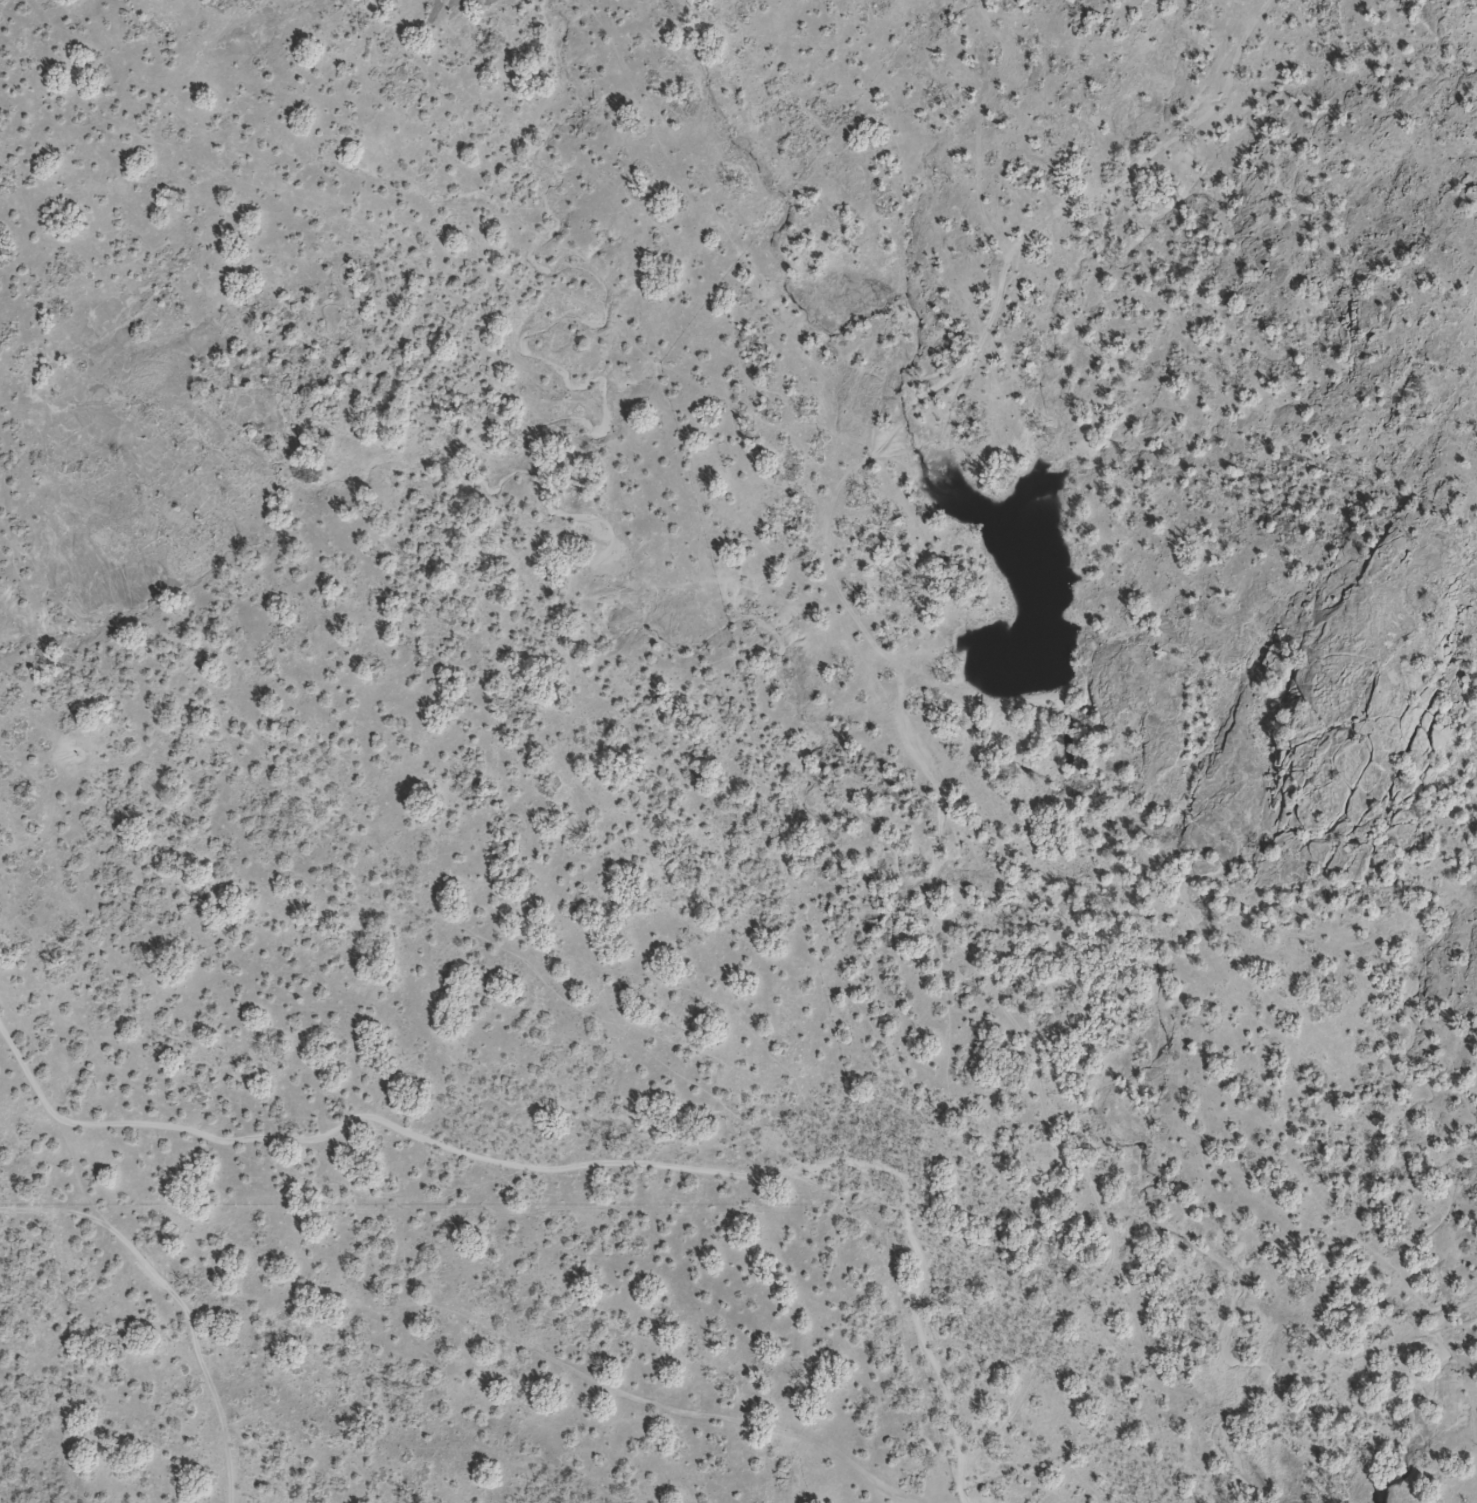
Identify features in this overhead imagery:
road: (587, 1156)

